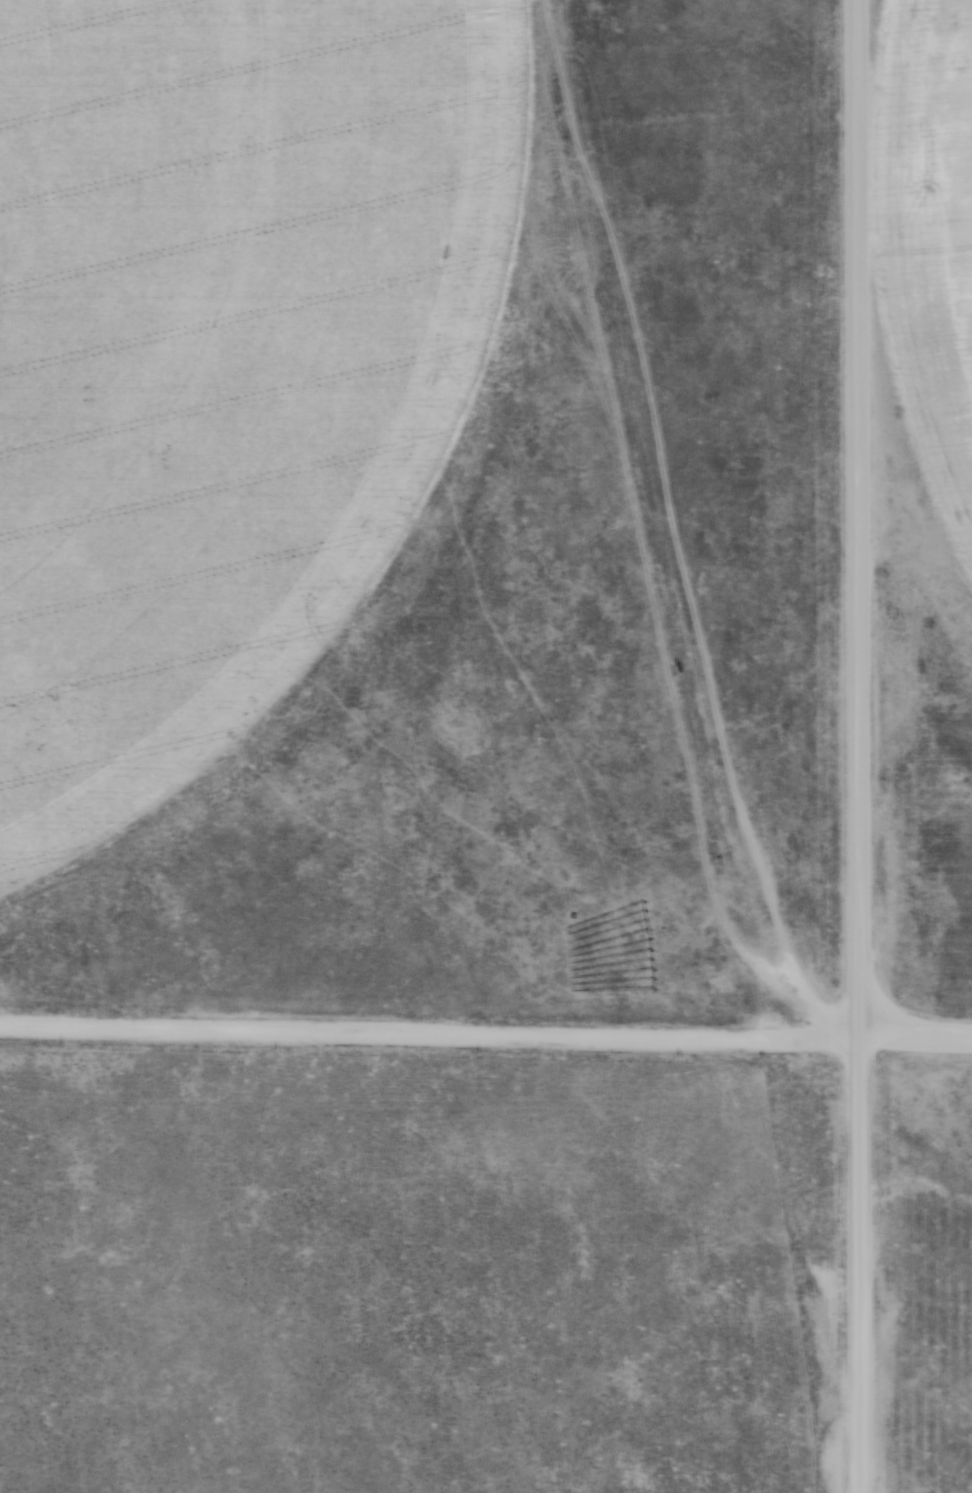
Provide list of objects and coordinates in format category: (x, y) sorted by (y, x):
crop: (931, 226)
crop: (220, 355)
road: (857, 520)
road: (429, 1036)
road: (915, 1042)
road: (859, 1267)

